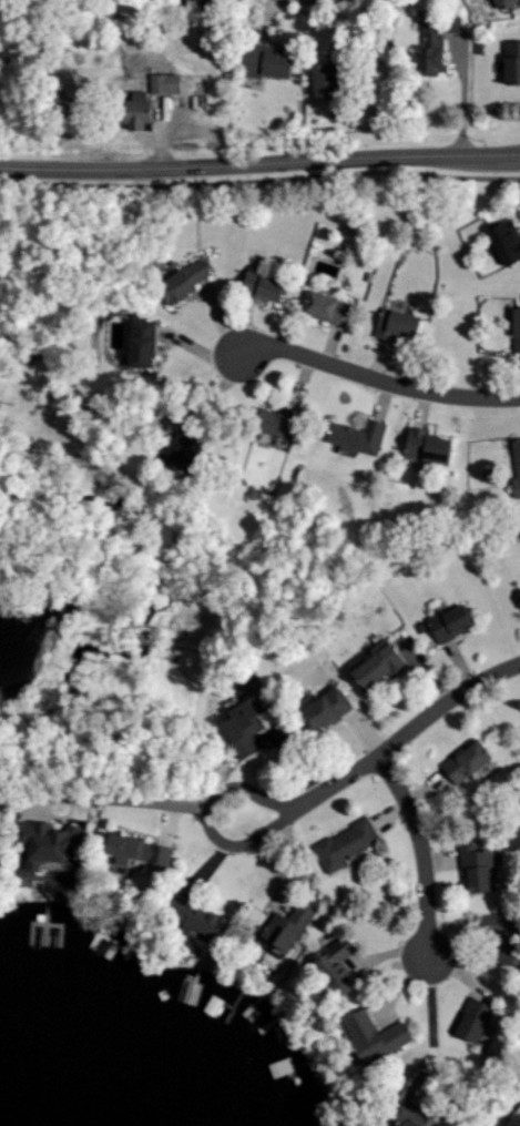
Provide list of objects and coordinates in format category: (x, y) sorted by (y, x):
building: (493, 2)
building: (421, 52)
building: (257, 61)
building: (508, 62)
building: (310, 79)
building: (161, 83)
road: (462, 98)
building: (125, 111)
road: (259, 163)
road: (259, 180)
building: (501, 241)
building: (175, 281)
building: (256, 286)
building: (318, 306)
building: (391, 324)
building: (513, 327)
building: (146, 344)
road: (378, 379)
building: (258, 420)
building: (350, 436)
building: (419, 446)
building: (188, 449)
building: (513, 468)
building: (517, 599)
building: (442, 621)
building: (381, 665)
building: (330, 710)
building: (247, 727)
road: (408, 732)
building: (471, 762)
road: (104, 799)
road: (225, 843)
building: (58, 844)
building: (348, 845)
building: (143, 852)
road: (422, 852)
building: (472, 866)
building: (206, 921)
building: (486, 922)
building: (293, 926)
building: (328, 967)
building: (467, 1018)
road: (431, 1025)
building: (363, 1034)
building: (388, 1095)

